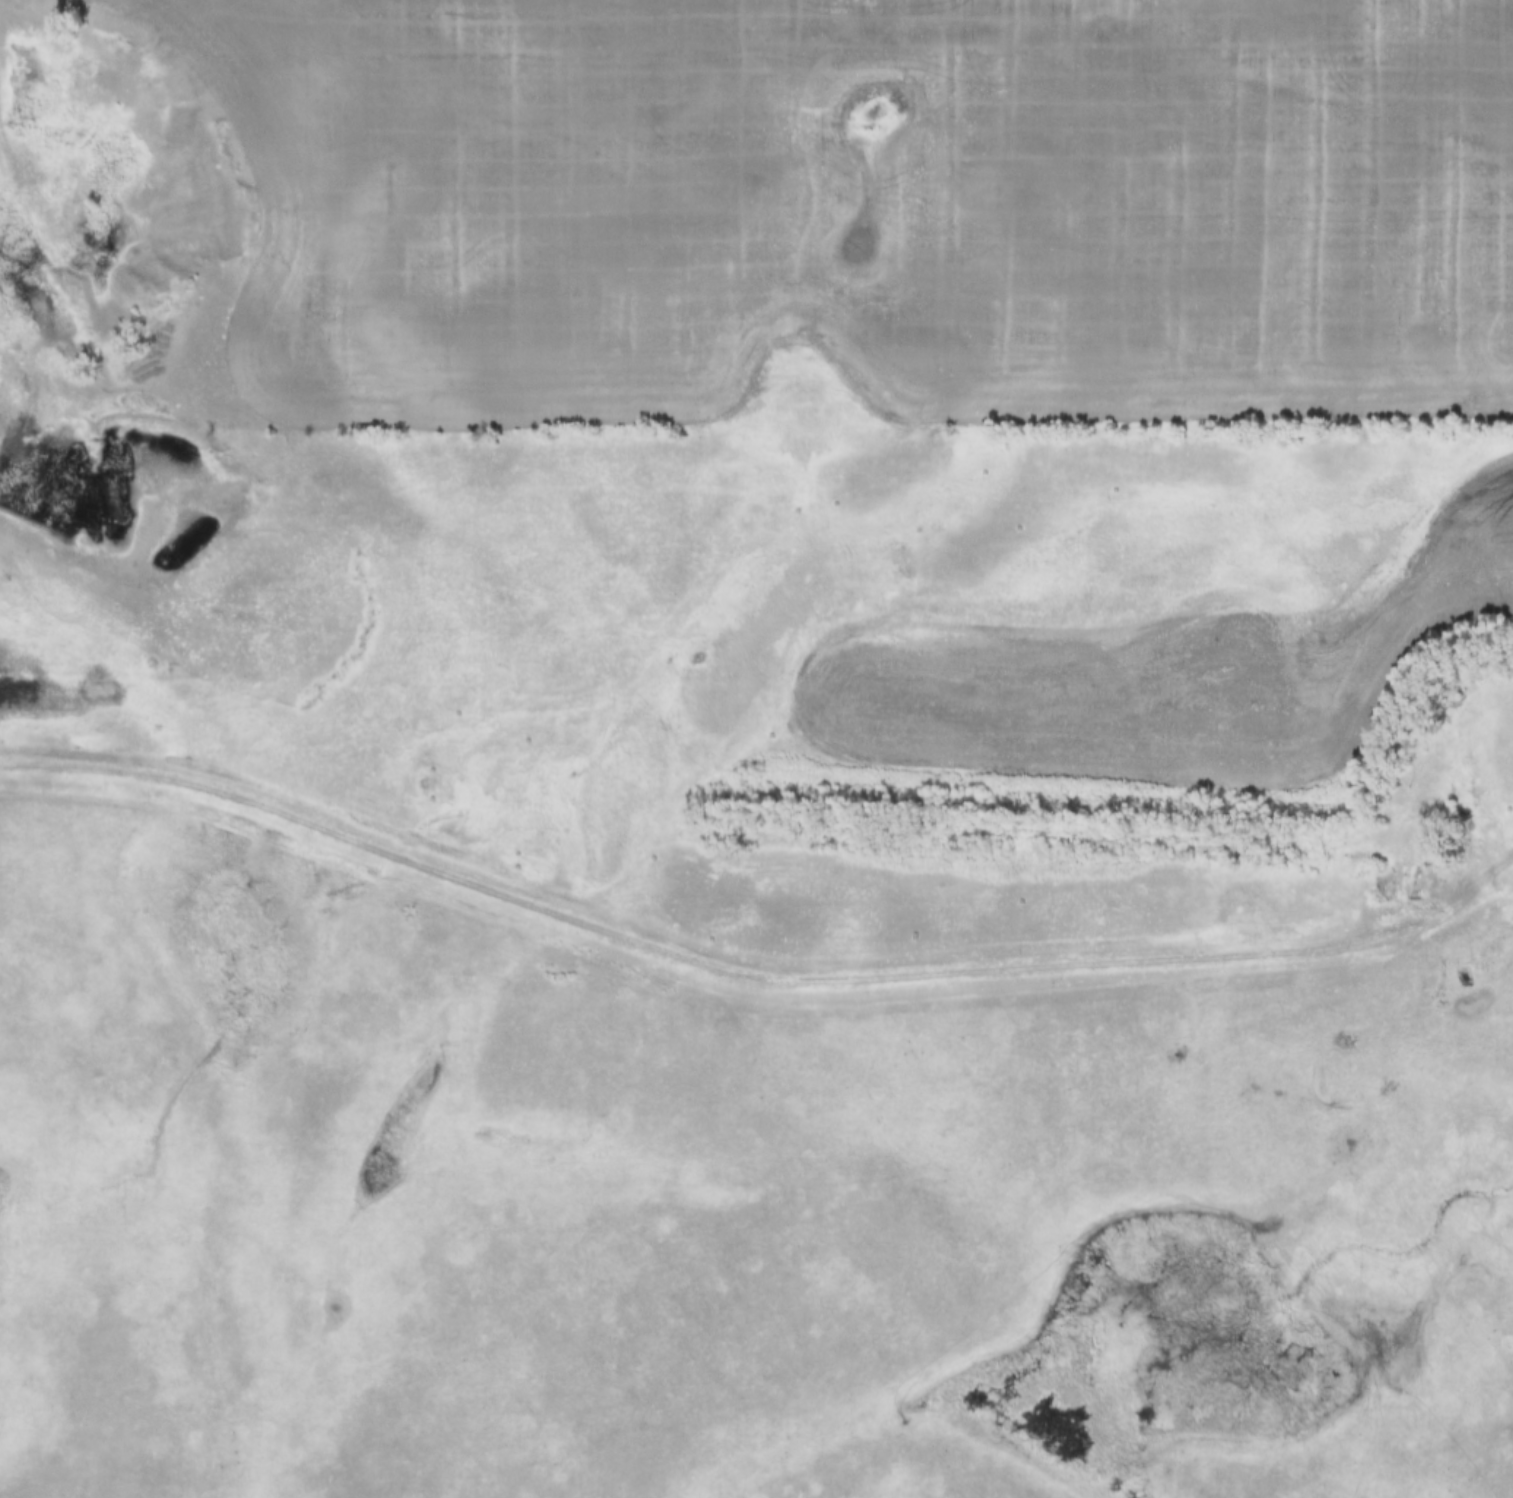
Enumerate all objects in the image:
road: (2, 96)
quarry: (156, 389)
road: (31, 549)
building: (1364, 865)
building: (1411, 876)
building: (1386, 888)
building: (1488, 955)
road: (729, 971)

